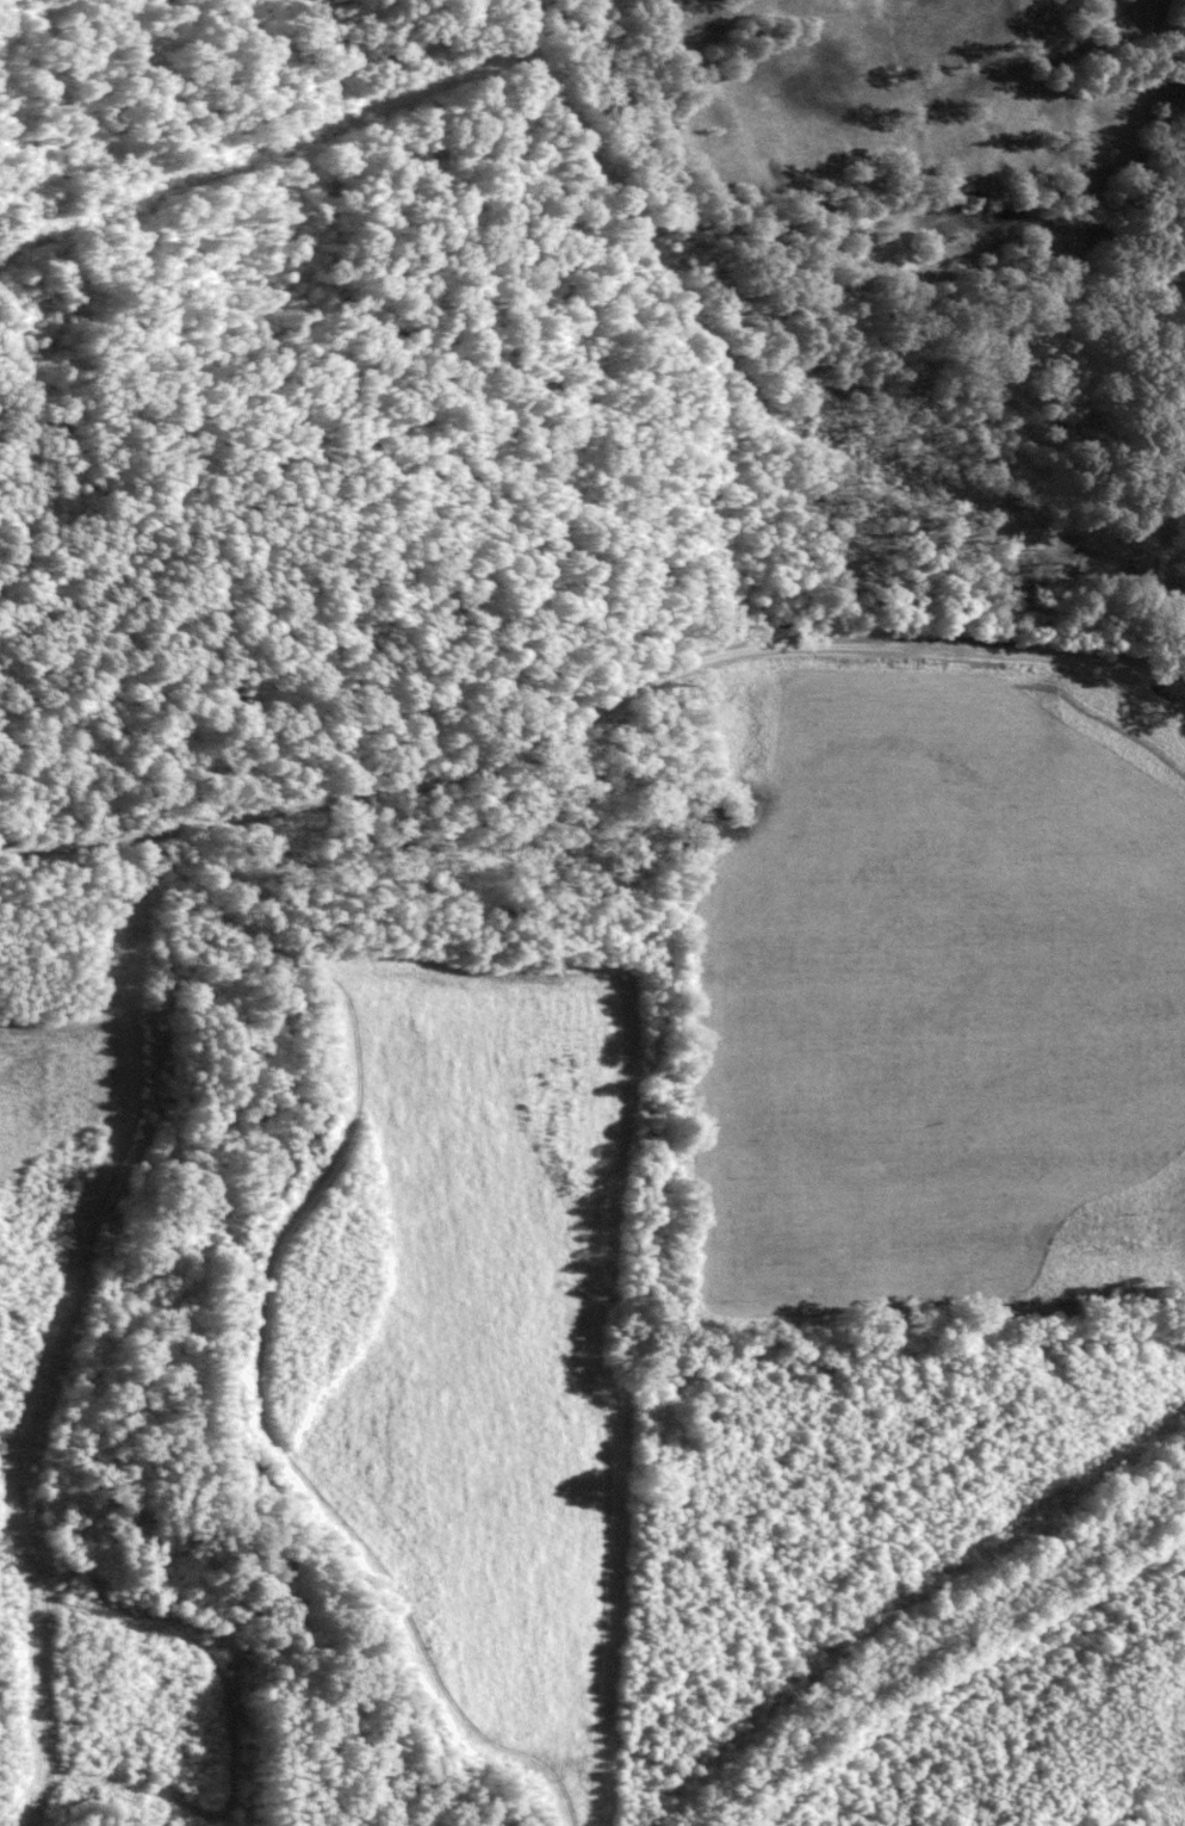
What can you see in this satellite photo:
road: (591, 716)

